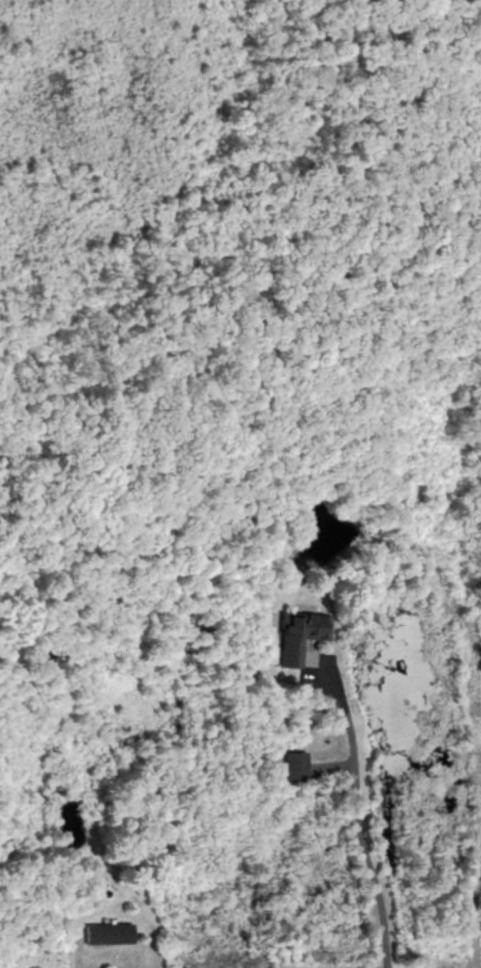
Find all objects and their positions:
building: (296, 635)
building: (293, 766)
road: (358, 820)
building: (106, 934)

